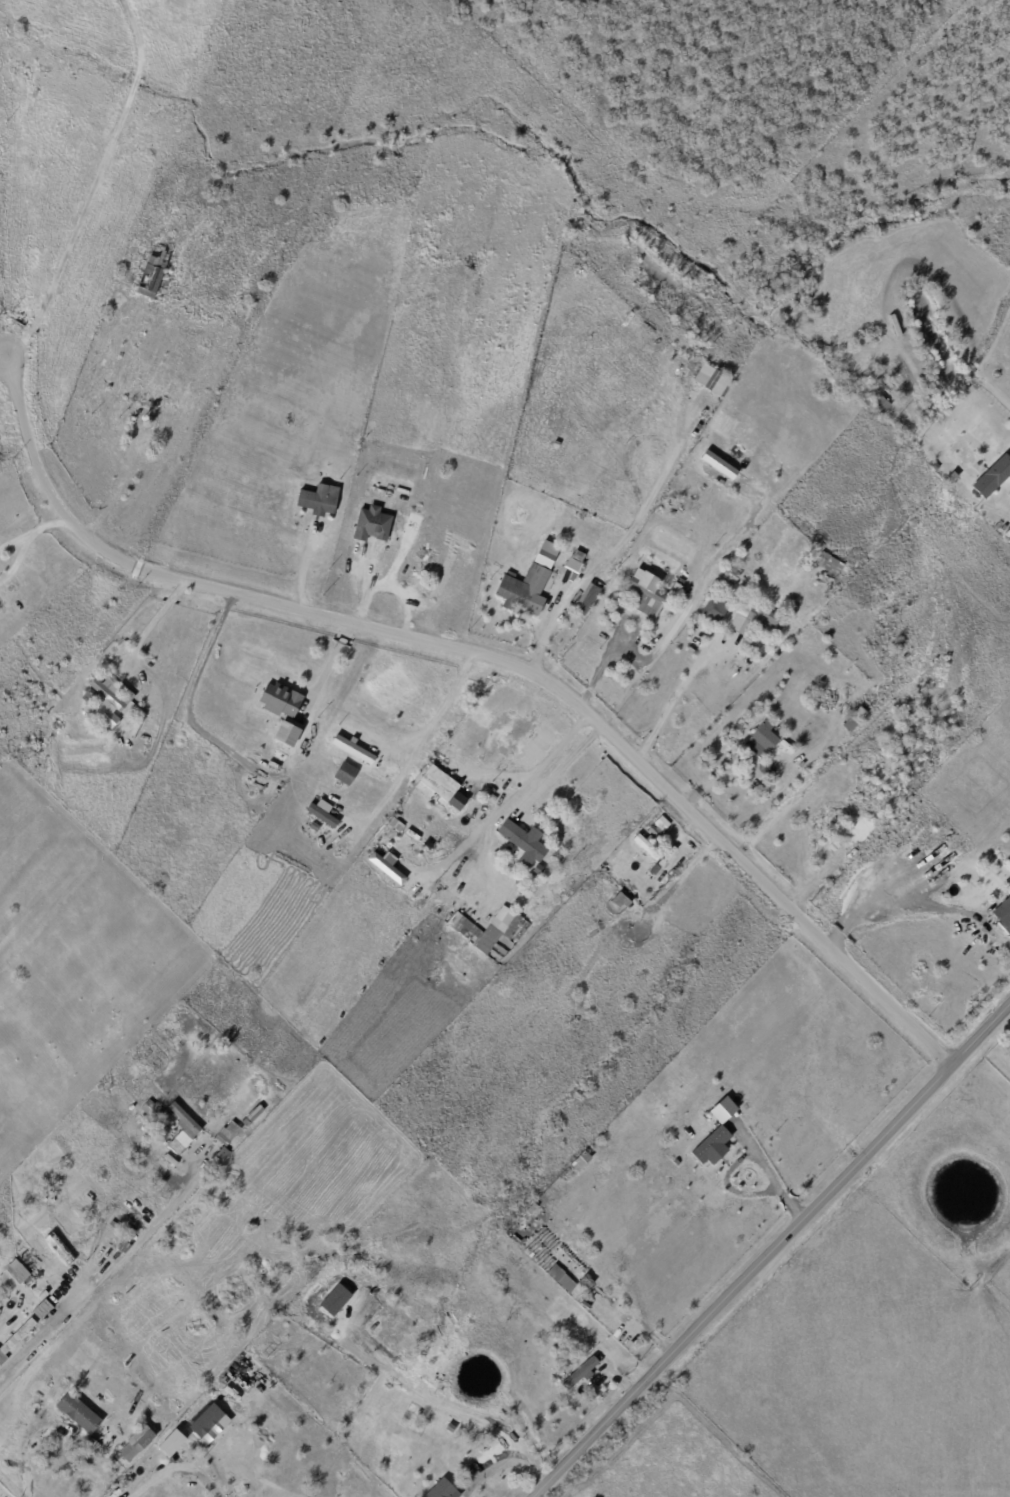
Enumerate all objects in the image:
road: (95, 186)
building: (152, 272)
road: (1, 354)
building: (138, 379)
building: (713, 380)
building: (890, 391)
building: (880, 404)
building: (158, 412)
building: (556, 444)
building: (717, 464)
building: (935, 466)
building: (993, 477)
building: (667, 494)
building: (319, 499)
building: (660, 508)
building: (371, 524)
road: (48, 525)
road: (14, 541)
road: (620, 545)
building: (545, 554)
building: (573, 555)
road: (18, 559)
building: (826, 560)
road: (303, 567)
building: (729, 578)
building: (525, 587)
building: (745, 589)
building: (644, 595)
building: (585, 598)
building: (670, 600)
building: (909, 605)
building: (615, 606)
building: (719, 606)
building: (712, 616)
road: (680, 617)
building: (761, 617)
road: (152, 623)
road: (487, 656)
road: (194, 682)
building: (107, 694)
building: (88, 696)
building: (279, 700)
road: (670, 700)
building: (87, 709)
building: (851, 724)
building: (283, 737)
road: (421, 740)
building: (762, 742)
building: (350, 748)
building: (283, 759)
building: (345, 773)
building: (439, 793)
road: (515, 794)
building: (319, 813)
building: (889, 817)
building: (395, 823)
building: (662, 824)
building: (654, 832)
building: (523, 843)
building: (647, 846)
road: (486, 847)
building: (836, 848)
building: (854, 849)
building: (385, 866)
building: (606, 868)
building: (538, 870)
building: (619, 901)
road: (917, 904)
building: (1003, 917)
building: (492, 934)
building: (273, 1101)
building: (147, 1107)
building: (721, 1110)
building: (255, 1113)
building: (186, 1118)
building: (228, 1134)
building: (710, 1146)
building: (221, 1153)
road: (746, 1156)
building: (578, 1161)
building: (114, 1225)
building: (123, 1247)
road: (773, 1254)
building: (99, 1269)
building: (21, 1272)
building: (42, 1295)
building: (41, 1309)
road: (42, 1331)
building: (15, 1340)
building: (580, 1374)
road: (430, 1396)
building: (78, 1413)
building: (207, 1420)
building: (136, 1442)
building: (169, 1442)
road: (507, 1461)
building: (441, 1490)

